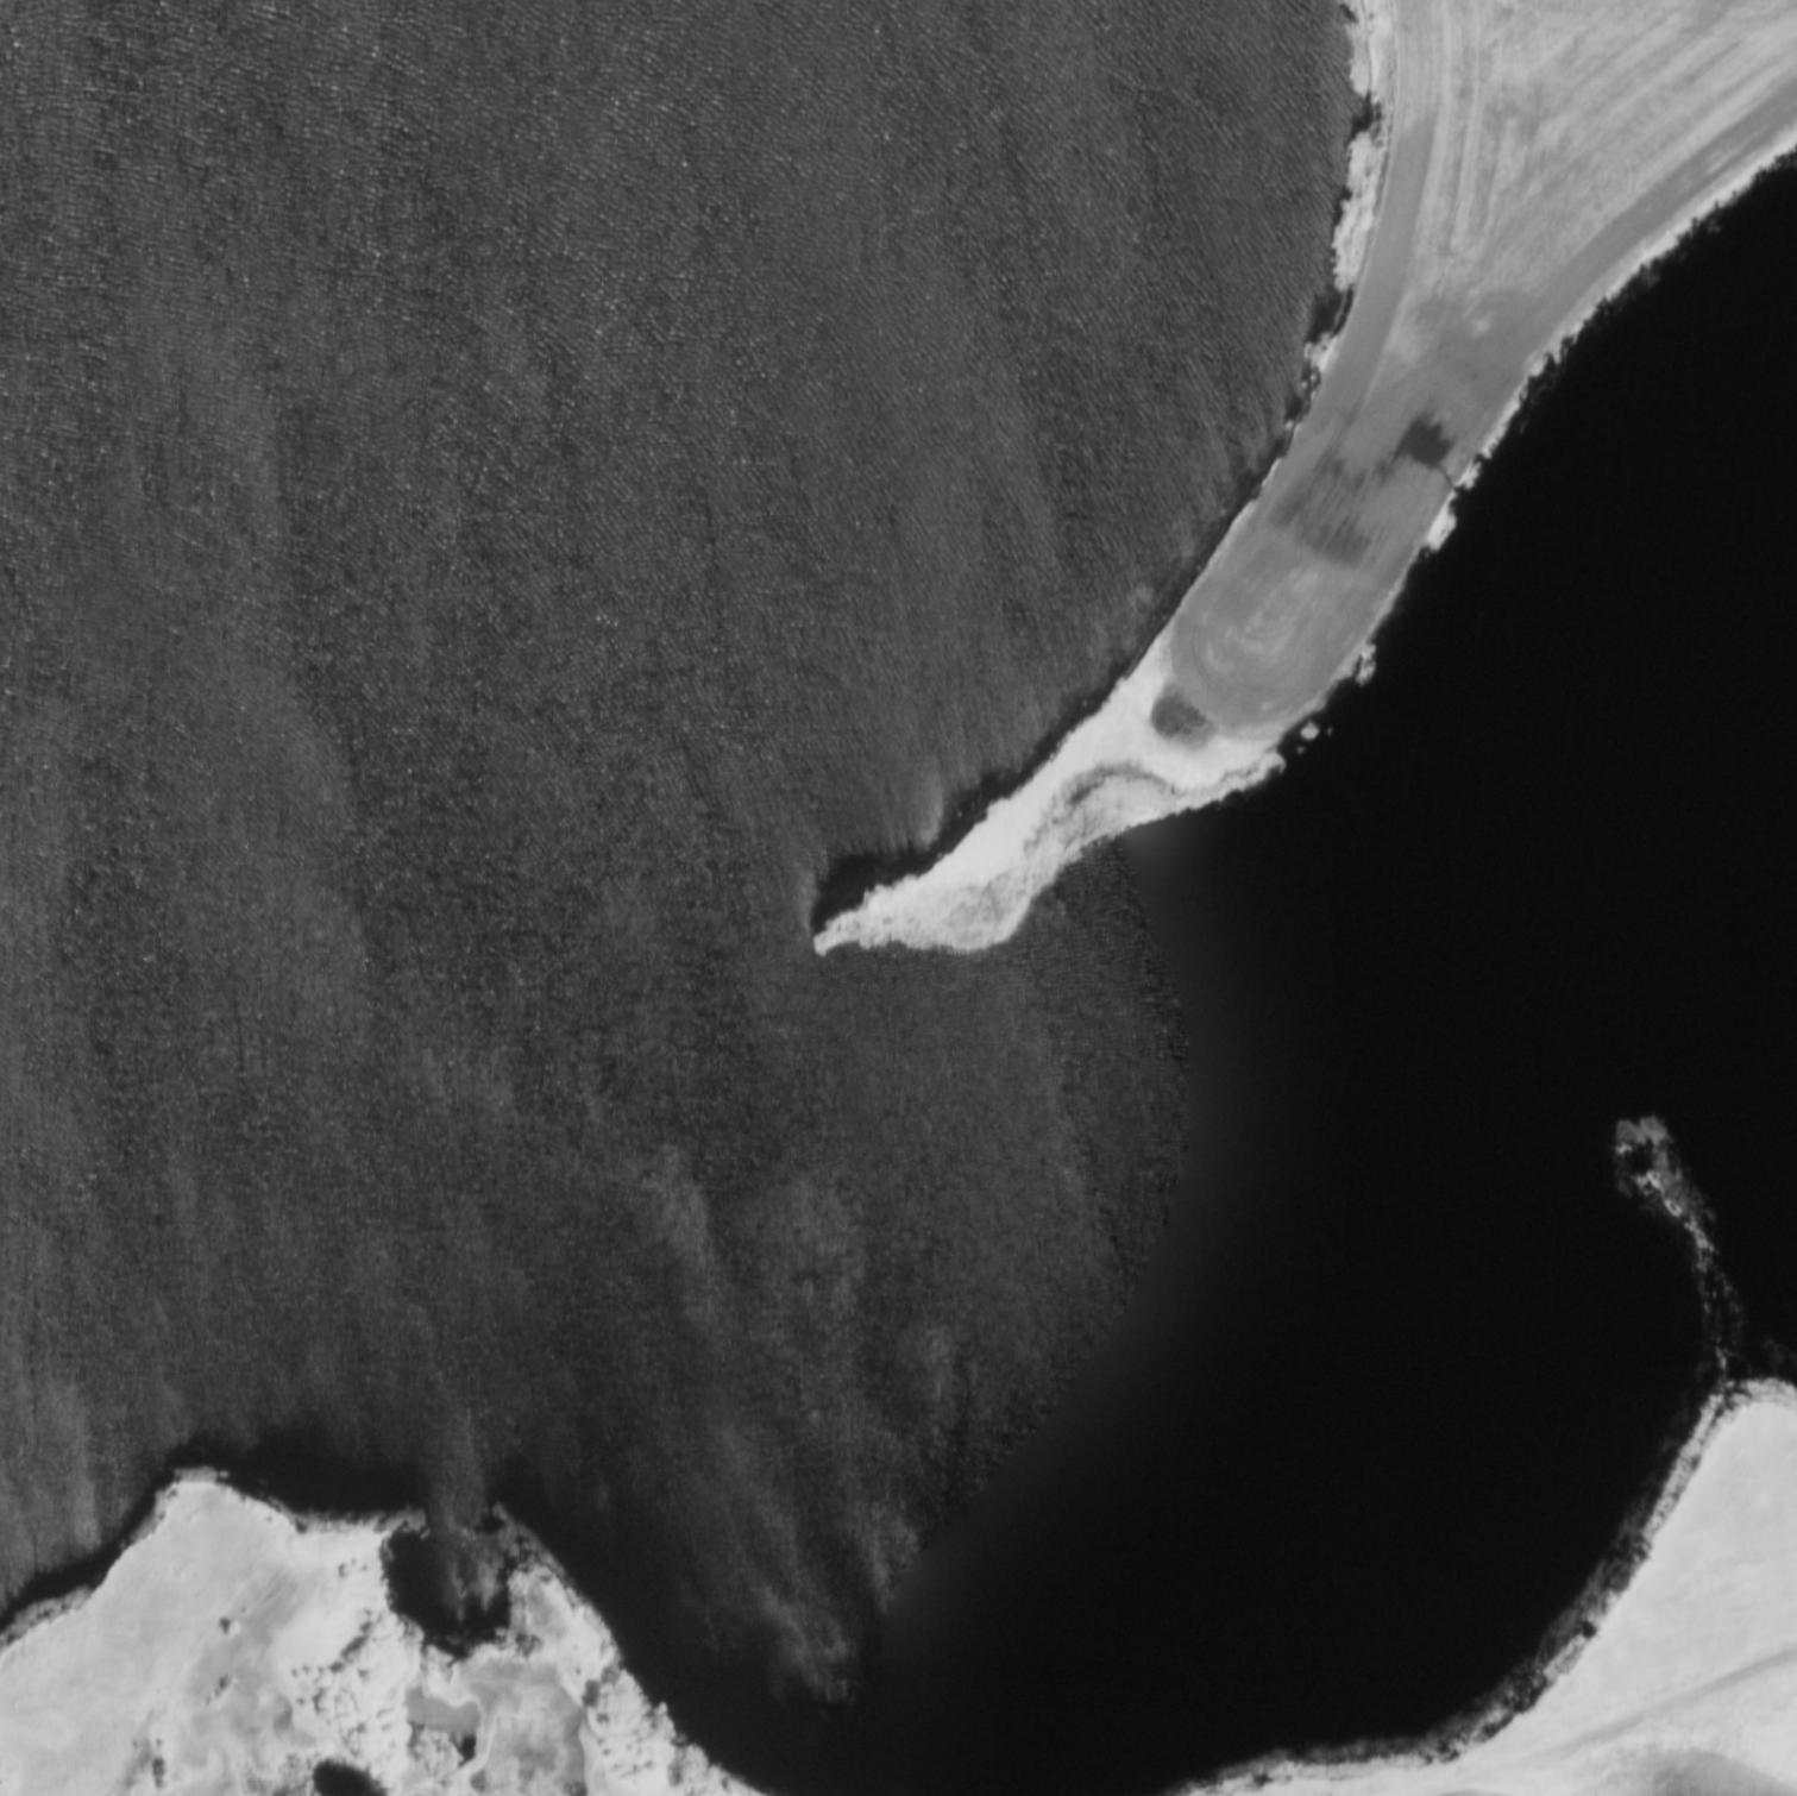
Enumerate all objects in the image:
road: (1608, 1723)

